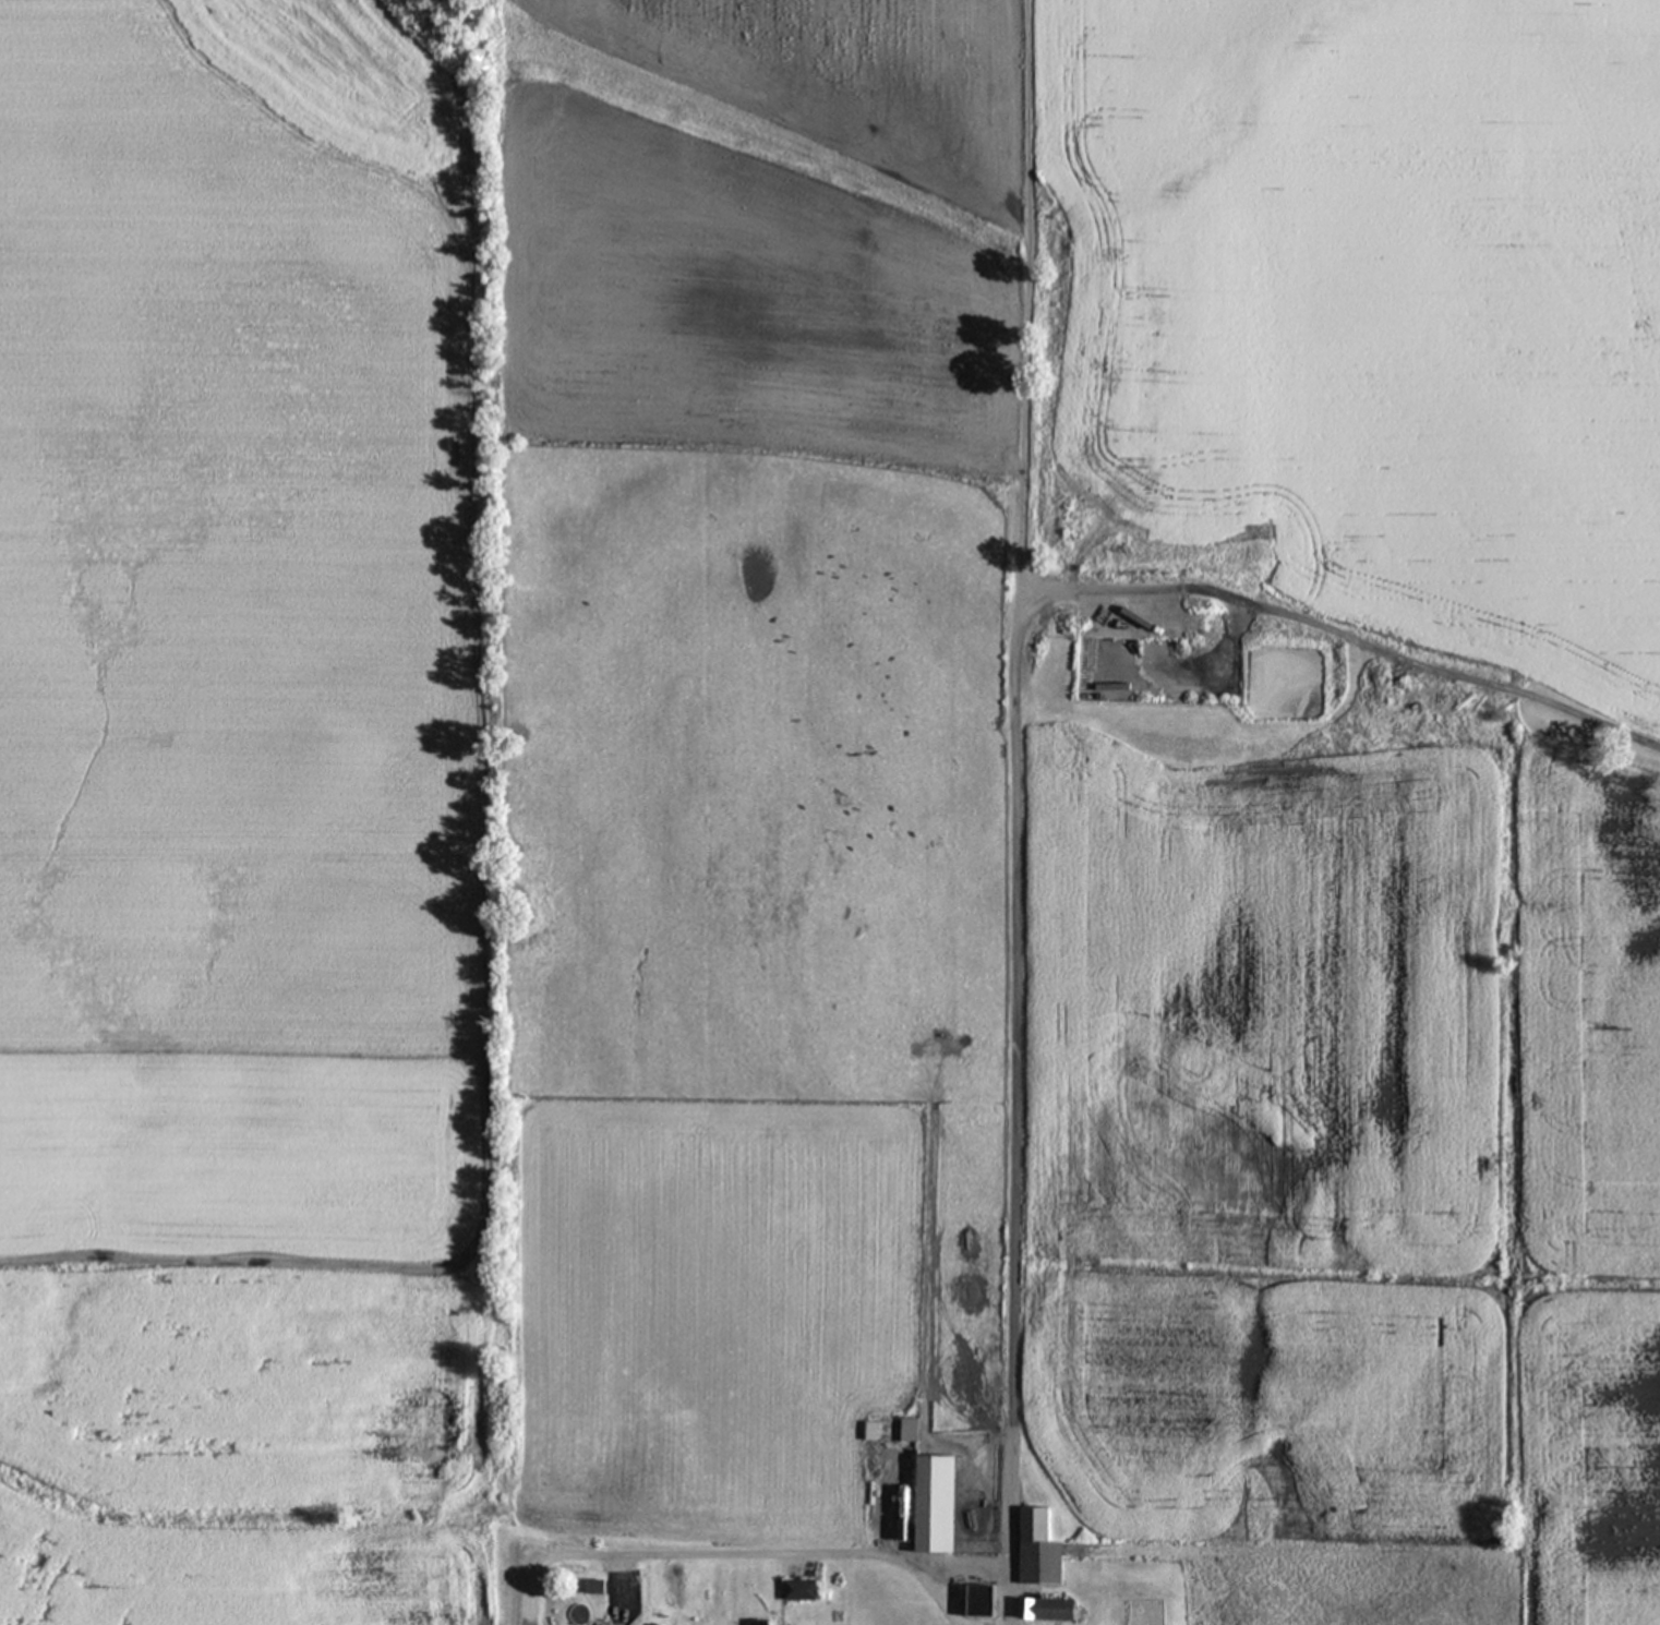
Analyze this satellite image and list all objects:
road: (1013, 714)
building: (914, 1432)
building: (939, 1506)
road: (1007, 1531)
road: (732, 1551)
building: (1040, 1552)
road: (988, 1564)
building: (799, 1592)
building: (1049, 1612)
building: (763, 1623)

